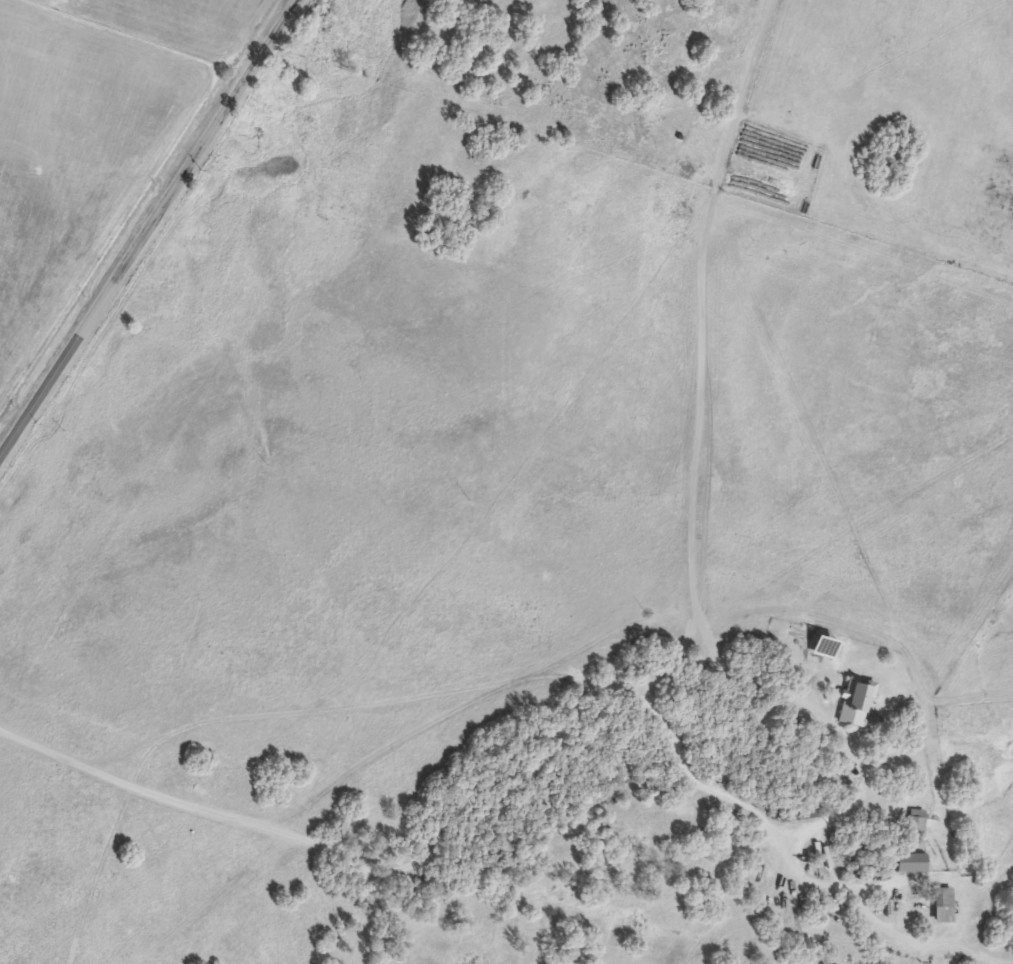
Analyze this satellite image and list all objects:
road: (147, 226)
building: (851, 701)
road: (857, 799)
building: (912, 820)
road: (346, 861)
building: (906, 862)
building: (938, 905)

